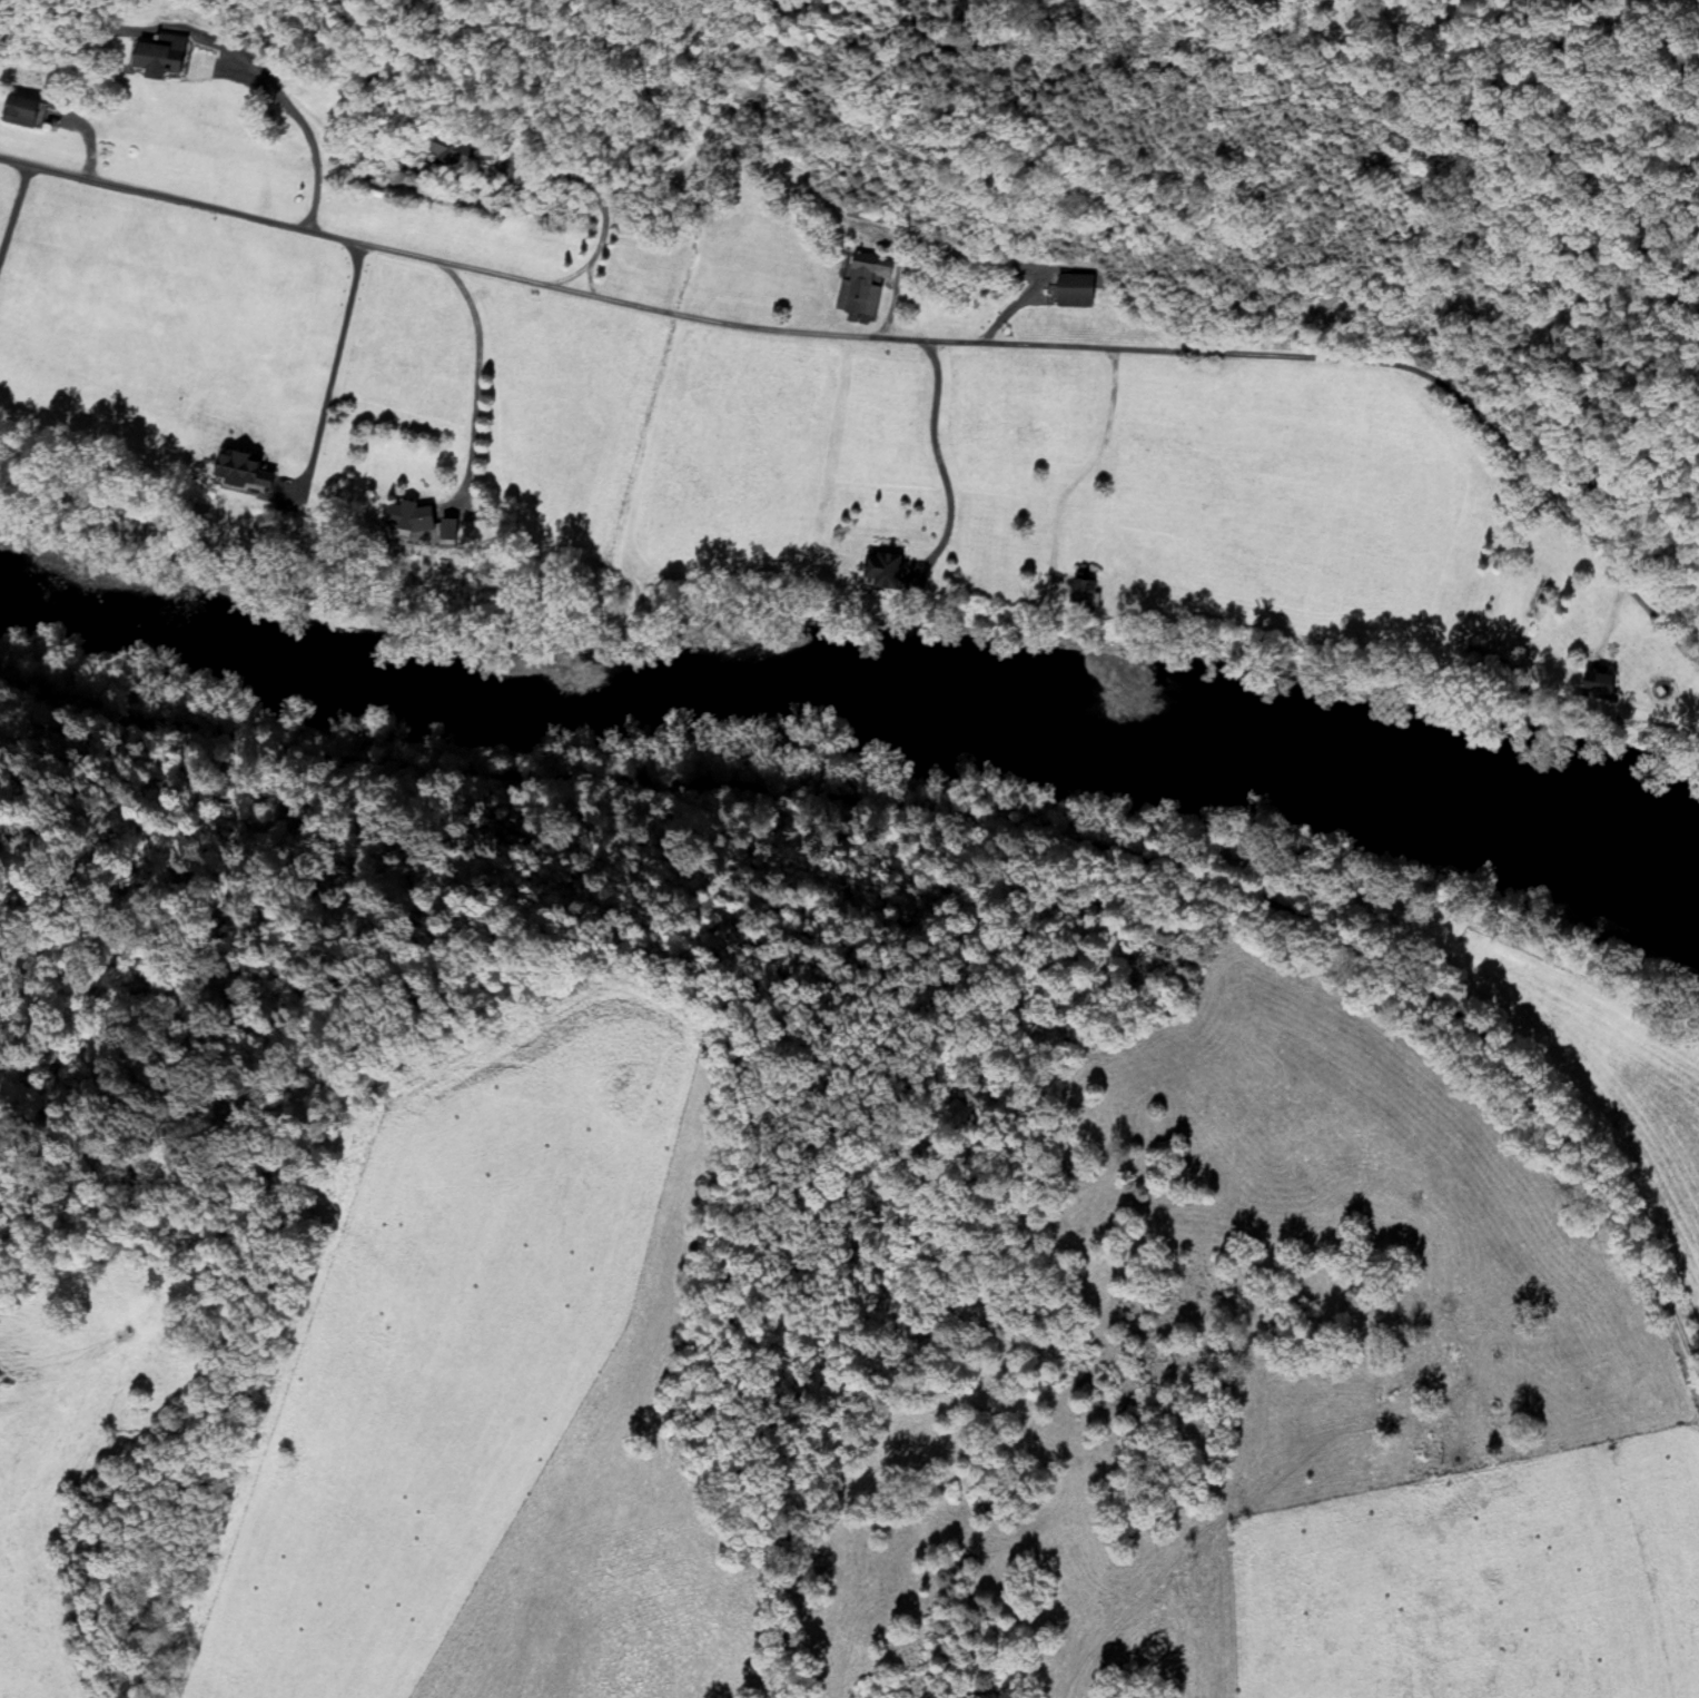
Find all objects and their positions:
building: (156, 58)
building: (18, 113)
building: (735, 149)
building: (447, 152)
building: (861, 286)
building: (1070, 293)
road: (901, 344)
building: (407, 515)
building: (1083, 594)
building: (1597, 687)
river: (855, 705)
road: (693, 776)
road: (1573, 1141)

